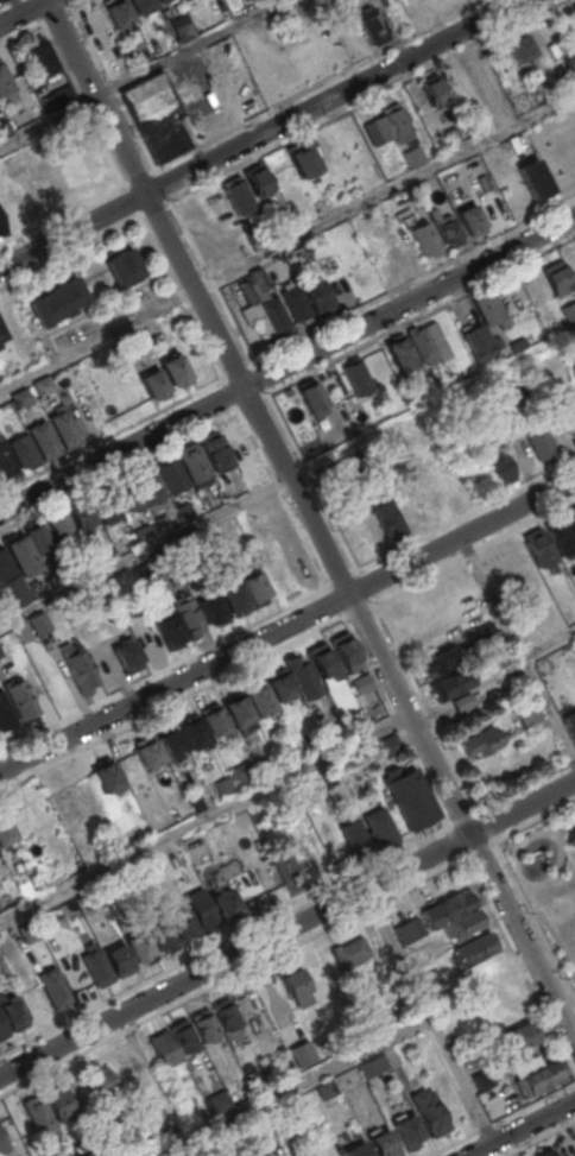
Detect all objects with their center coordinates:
building: (0, 0)
building: (184, 0)
building: (159, 1)
building: (140, 5)
building: (573, 6)
building: (116, 11)
road: (24, 12)
building: (373, 25)
building: (184, 31)
building: (520, 45)
building: (39, 55)
building: (138, 55)
road: (139, 71)
building: (5, 82)
building: (434, 90)
building: (63, 95)
building: (156, 115)
building: (391, 124)
building: (4, 126)
road: (259, 134)
building: (453, 135)
building: (413, 154)
building: (303, 160)
building: (282, 173)
building: (533, 179)
building: (258, 181)
building: (236, 194)
building: (472, 220)
building: (0, 225)
building: (449, 230)
building: (424, 236)
building: (257, 238)
road: (287, 240)
building: (124, 265)
building: (367, 273)
building: (260, 278)
building: (556, 278)
building: (317, 293)
building: (57, 301)
building: (296, 303)
building: (569, 310)
building: (491, 311)
building: (277, 321)
building: (1, 335)
building: (422, 342)
building: (476, 342)
building: (400, 354)
road: (286, 364)
building: (173, 368)
building: (358, 377)
building: (153, 383)
building: (43, 385)
building: (507, 385)
building: (20, 397)
building: (312, 399)
road: (431, 403)
building: (6, 406)
building: (573, 416)
building: (65, 427)
building: (43, 438)
building: (236, 438)
building: (538, 438)
building: (23, 449)
building: (216, 450)
building: (6, 460)
building: (194, 462)
building: (498, 466)
building: (172, 474)
building: (150, 486)
building: (128, 495)
building: (107, 505)
building: (187, 511)
building: (571, 516)
building: (83, 517)
building: (387, 518)
road: (310, 520)
building: (163, 522)
building: (59, 525)
building: (145, 532)
building: (561, 535)
building: (38, 536)
building: (203, 543)
building: (539, 545)
road: (144, 550)
building: (20, 554)
building: (83, 561)
building: (159, 561)
building: (4, 566)
building: (498, 567)
building: (146, 568)
building: (257, 587)
building: (234, 598)
building: (211, 609)
building: (188, 615)
building: (40, 623)
road: (287, 624)
building: (170, 630)
road: (549, 642)
road: (518, 646)
building: (1, 652)
building: (347, 652)
building: (127, 655)
building: (438, 661)
building: (78, 668)
building: (328, 672)
building: (302, 676)
building: (362, 683)
building: (453, 683)
building: (280, 687)
building: (23, 699)
building: (259, 700)
building: (463, 702)
building: (238, 710)
building: (527, 713)
building: (5, 714)
building: (213, 718)
building: (570, 721)
building: (194, 732)
building: (171, 741)
building: (480, 741)
building: (390, 745)
building: (150, 752)
building: (285, 754)
building: (263, 766)
building: (242, 775)
building: (107, 776)
building: (326, 778)
building: (225, 787)
building: (64, 798)
building: (411, 798)
building: (195, 801)
road: (204, 817)
building: (5, 829)
building: (369, 832)
road: (545, 833)
building: (573, 836)
road: (564, 840)
road: (508, 844)
road: (557, 868)
park: (549, 878)
building: (24, 889)
building: (6, 898)
building: (226, 904)
building: (201, 908)
building: (448, 908)
road: (539, 911)
building: (182, 924)
building: (465, 926)
road: (287, 928)
building: (409, 929)
building: (25, 931)
building: (160, 934)
building: (138, 946)
building: (475, 948)
building: (349, 952)
road: (398, 952)
building: (119, 960)
building: (96, 966)
building: (430, 977)
building: (75, 978)
building: (52, 987)
building: (297, 987)
building: (12, 1013)
building: (225, 1013)
building: (204, 1025)
building: (2, 1028)
building: (183, 1036)
building: (520, 1037)
building: (163, 1046)
building: (303, 1053)
road: (354, 1054)
building: (373, 1065)
building: (122, 1070)
building: (539, 1078)
building: (94, 1082)
building: (326, 1088)
building: (58, 1103)
building: (220, 1104)
building: (431, 1111)
building: (38, 1113)
building: (14, 1122)
road: (522, 1129)
building: (409, 1130)
building: (1, 1139)
building: (384, 1144)
building: (358, 1150)
building: (548, 1152)
building: (308, 1154)

